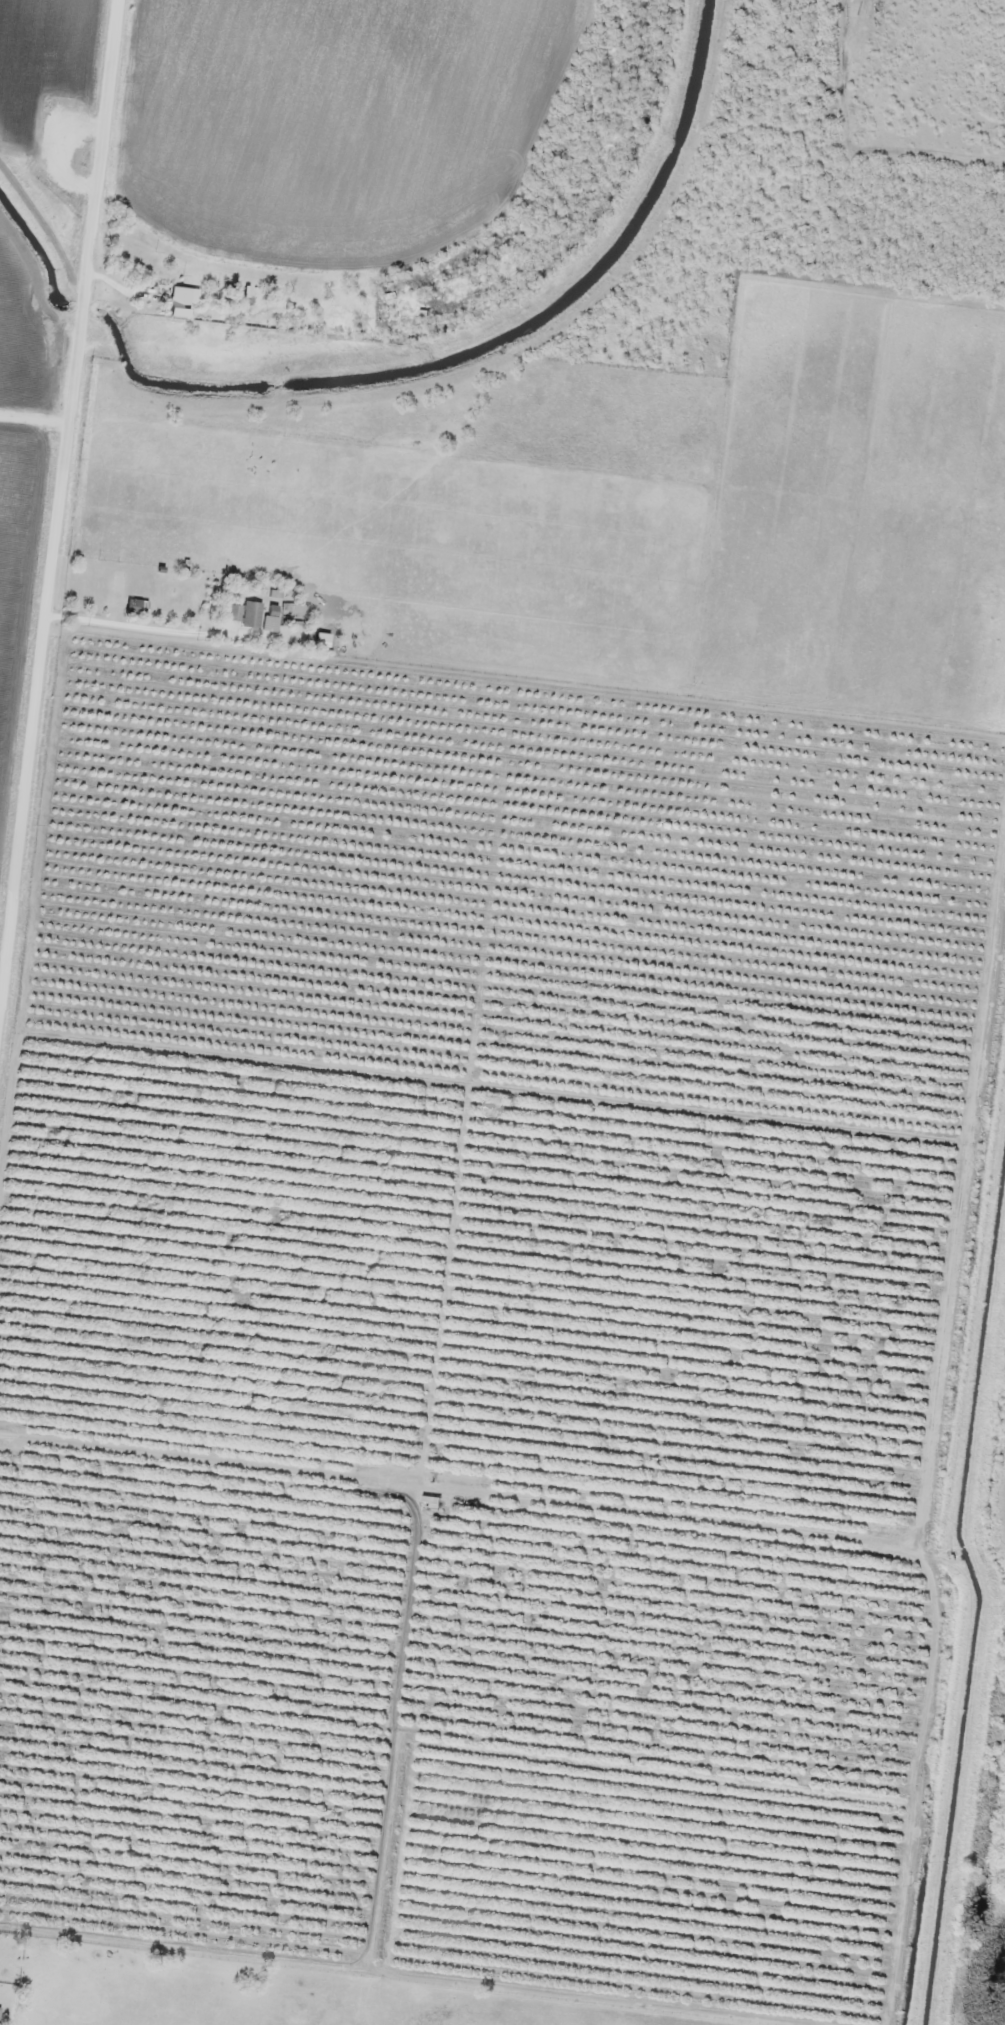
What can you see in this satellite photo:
building: (179, 300)
building: (423, 314)
road: (58, 504)
building: (137, 606)
building: (233, 611)
building: (252, 613)
building: (271, 622)
road: (119, 623)
building: (322, 638)
building: (430, 1501)

